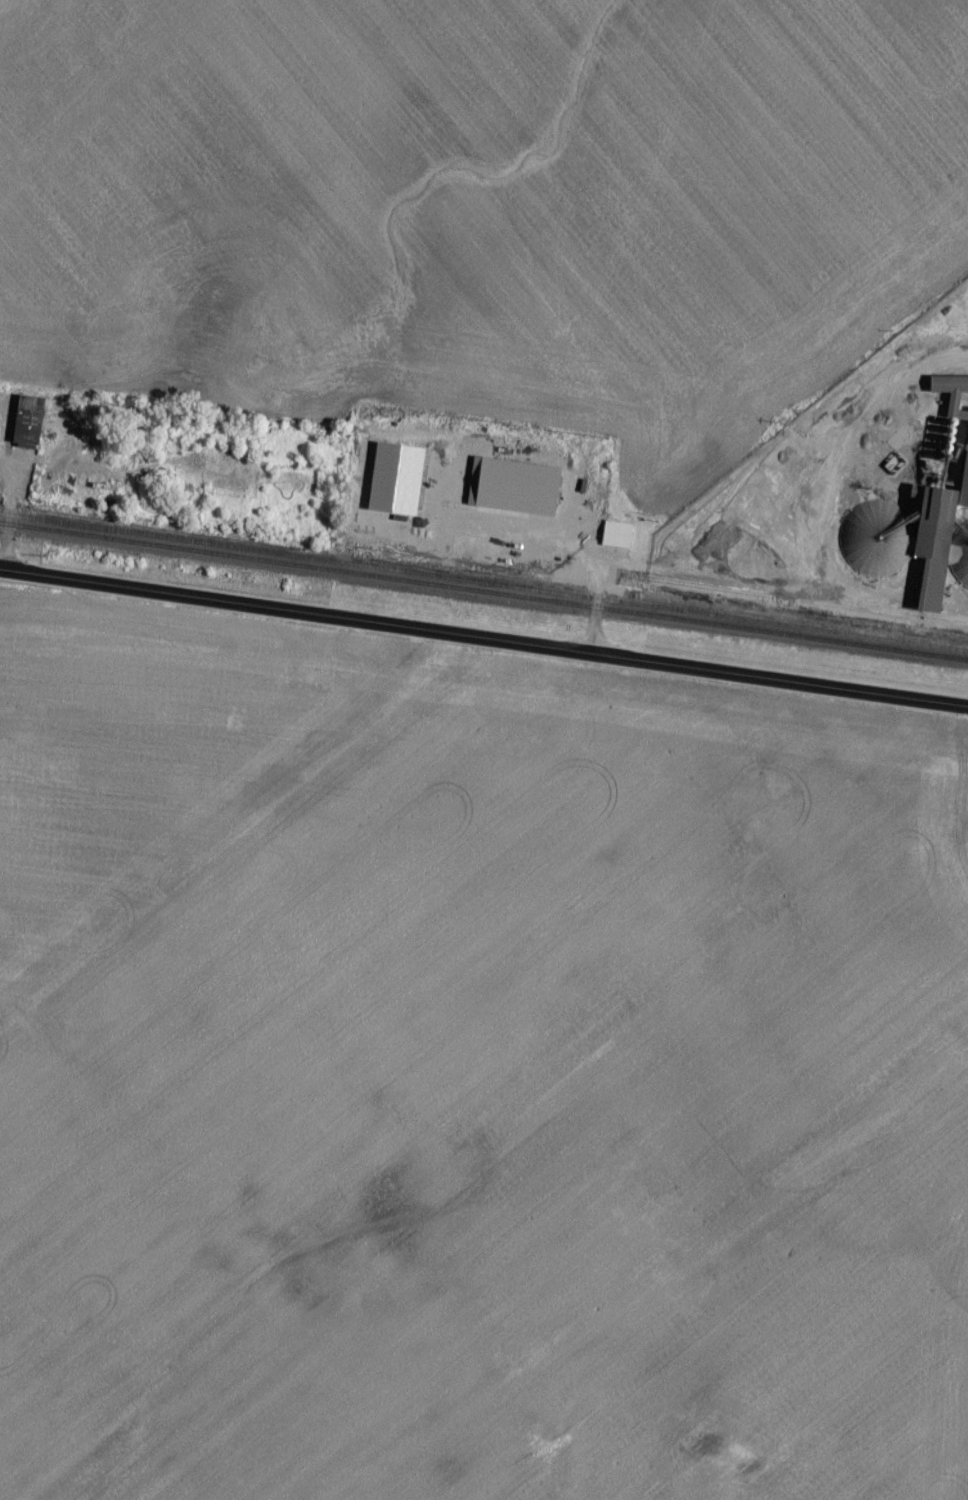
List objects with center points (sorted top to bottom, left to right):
building: (5, 402)
building: (31, 426)
road: (8, 471)
road: (10, 528)
building: (925, 528)
building: (619, 540)
railway: (483, 597)
road: (597, 610)
road: (484, 644)

